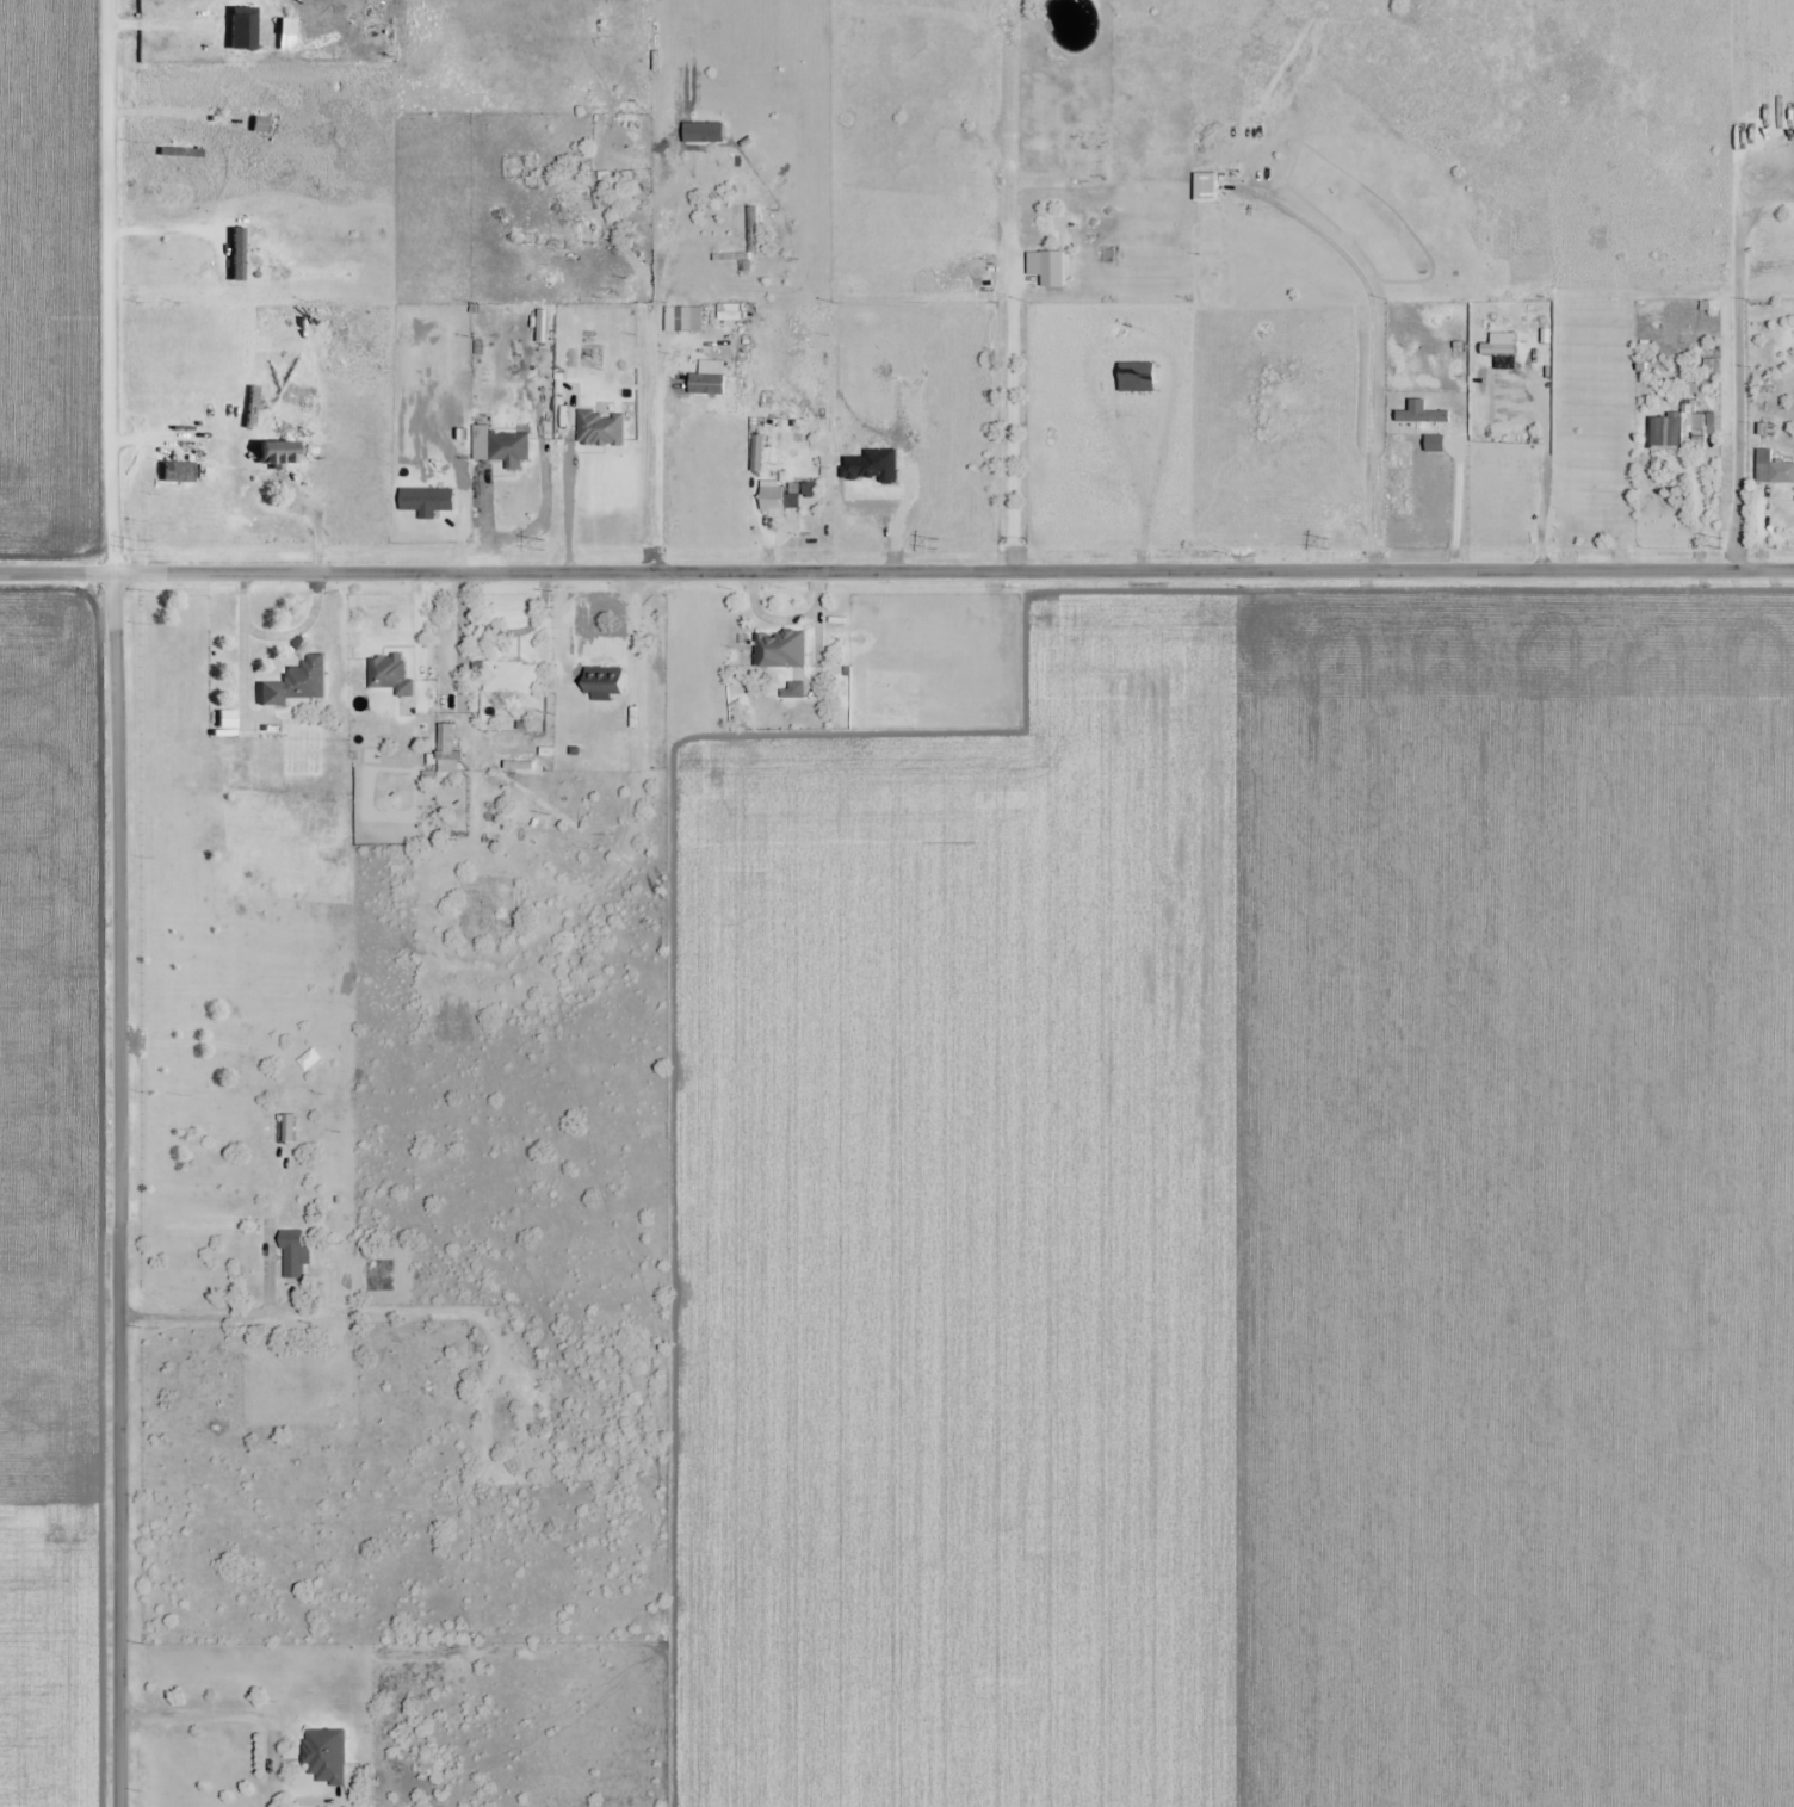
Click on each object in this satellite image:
building: (265, 126)
building: (181, 153)
building: (573, 229)
building: (1056, 268)
building: (1703, 305)
building: (604, 428)
building: (1665, 434)
building: (1709, 438)
building: (515, 447)
building: (278, 453)
building: (179, 472)
road: (657, 474)
building: (1775, 474)
building: (431, 499)
building: (780, 499)
road: (568, 503)
road: (314, 515)
power tower: (135, 544)
power tower: (544, 544)
power tower: (1329, 544)
power tower: (938, 545)
power tower: (1720, 545)
road: (896, 570)
building: (782, 649)
building: (392, 674)
building: (509, 676)
building: (608, 682)
building: (299, 683)
building: (450, 747)
road: (117, 903)
building: (297, 1255)
road: (209, 1323)
building: (506, 1421)
building: (329, 1755)

